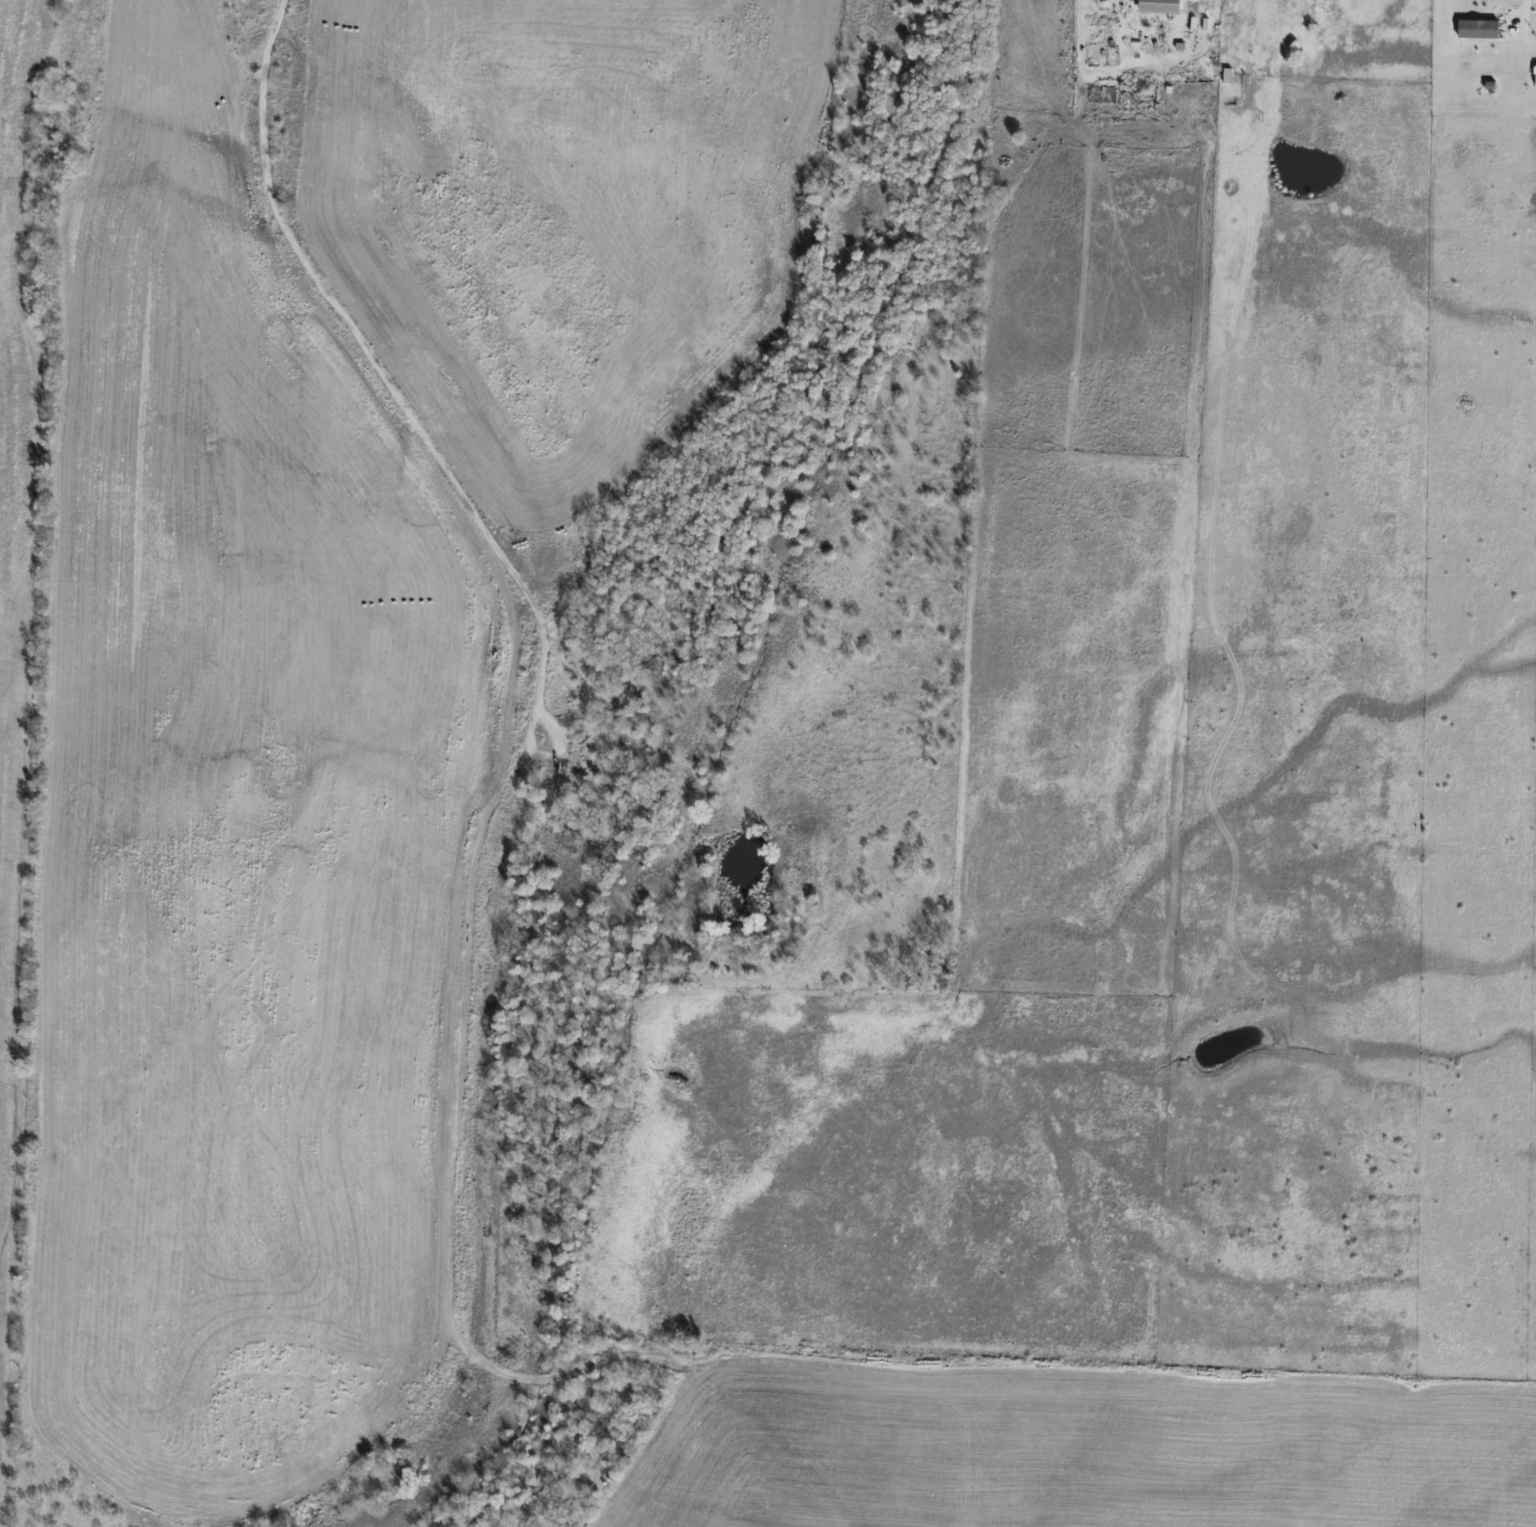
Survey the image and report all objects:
building: (1146, 4)
road: (1529, 11)
building: (1476, 27)
building: (1280, 37)
building: (1227, 147)

